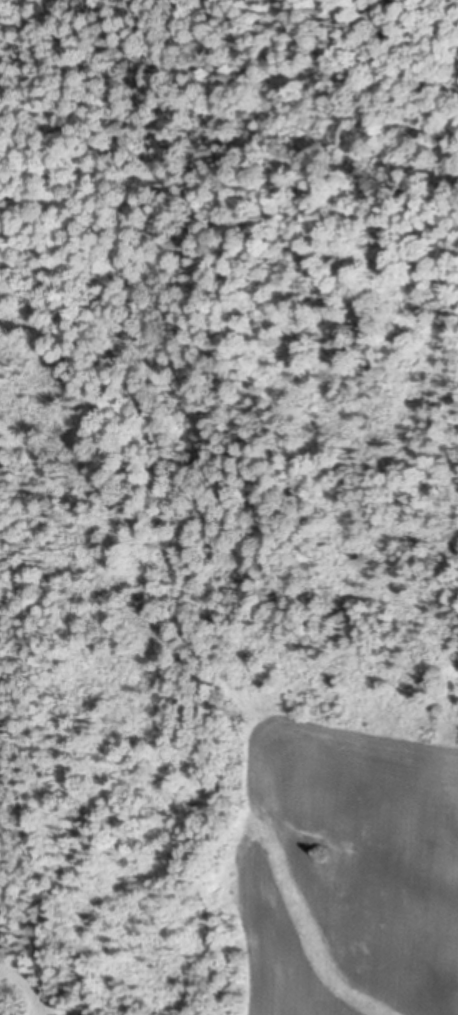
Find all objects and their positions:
crop: (344, 874)

